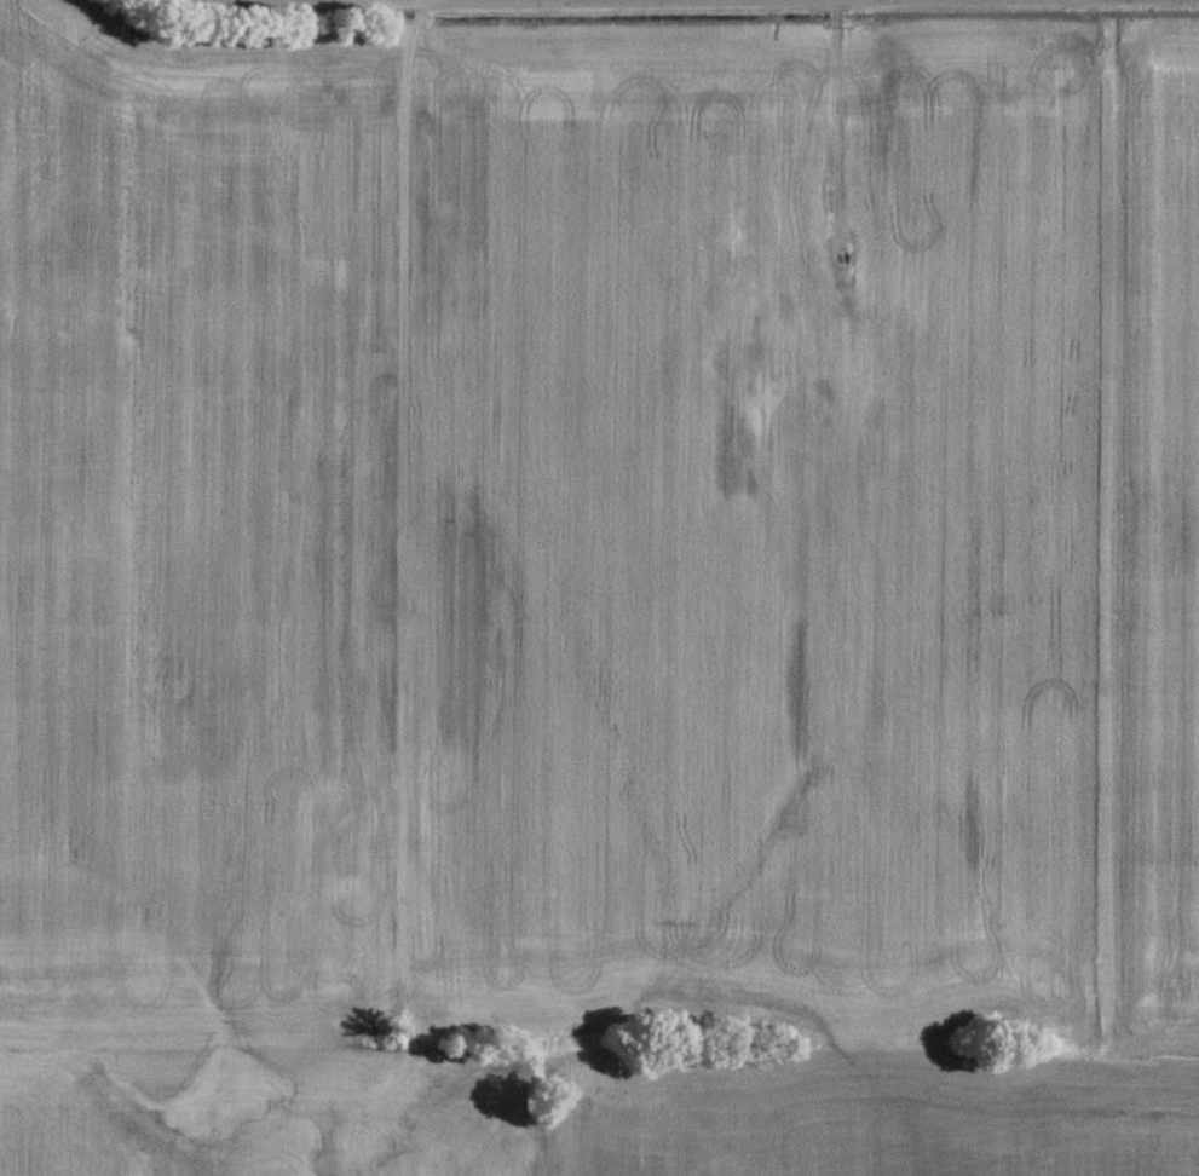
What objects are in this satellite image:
road: (687, 7)
road: (426, 593)

